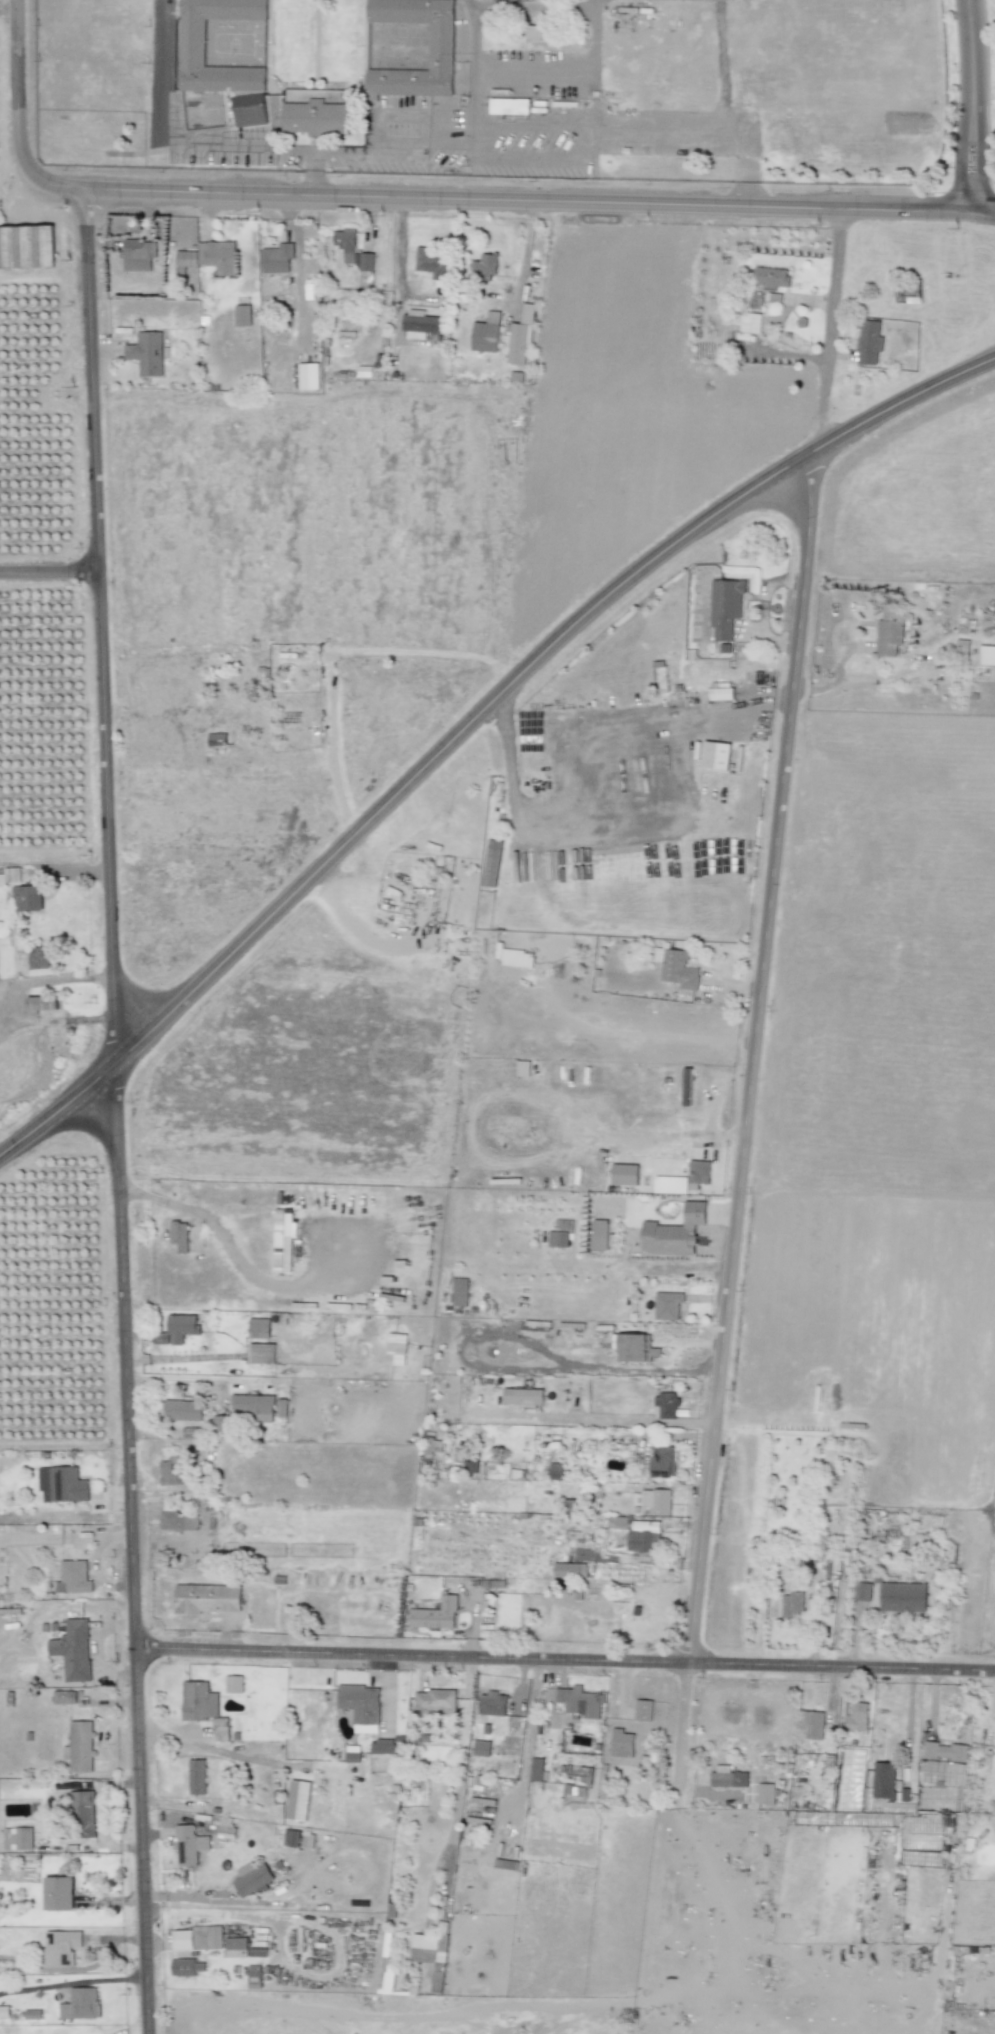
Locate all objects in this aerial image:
road: (7, 3)
building: (533, 32)
building: (442, 46)
building: (193, 51)
road: (972, 102)
building: (509, 106)
building: (251, 109)
road: (14, 116)
building: (316, 117)
road: (578, 128)
road: (168, 140)
building: (78, 144)
road: (377, 150)
road: (528, 196)
road: (984, 206)
building: (345, 243)
building: (27, 246)
building: (139, 255)
building: (218, 256)
building: (277, 258)
building: (185, 260)
building: (366, 261)
building: (432, 262)
building: (485, 266)
building: (771, 277)
building: (756, 301)
building: (242, 315)
building: (750, 322)
building: (420, 324)
road: (832, 326)
building: (486, 333)
building: (521, 337)
building: (869, 342)
building: (147, 353)
building: (308, 376)
road: (906, 400)
road: (52, 571)
building: (726, 606)
road: (105, 624)
building: (888, 633)
building: (987, 655)
building: (720, 693)
road: (575, 732)
road: (457, 738)
building: (216, 739)
building: (716, 755)
road: (648, 828)
building: (491, 863)
building: (10, 876)
building: (28, 897)
building: (515, 957)
building: (37, 958)
building: (677, 968)
road: (56, 978)
building: (42, 1003)
building: (523, 1068)
building: (687, 1086)
road: (60, 1110)
building: (698, 1173)
building: (624, 1174)
building: (670, 1185)
road: (738, 1227)
building: (674, 1232)
building: (179, 1235)
building: (599, 1235)
building: (282, 1239)
building: (557, 1239)
road: (310, 1284)
building: (460, 1292)
building: (667, 1305)
building: (258, 1328)
building: (177, 1329)
road: (691, 1345)
building: (397, 1347)
building: (635, 1347)
building: (261, 1353)
road: (195, 1377)
building: (522, 1396)
building: (665, 1405)
building: (254, 1406)
building: (281, 1407)
building: (182, 1410)
road: (625, 1421)
building: (220, 1424)
building: (432, 1445)
building: (662, 1461)
building: (469, 1466)
building: (170, 1471)
building: (556, 1471)
building: (62, 1484)
building: (653, 1501)
building: (178, 1521)
building: (637, 1536)
road: (135, 1547)
building: (832, 1568)
building: (570, 1570)
building: (73, 1577)
building: (861, 1591)
building: (902, 1597)
building: (207, 1598)
building: (792, 1605)
building: (435, 1615)
building: (73, 1650)
road: (567, 1659)
building: (233, 1684)
building: (64, 1697)
building: (199, 1701)
building: (434, 1701)
building: (580, 1701)
building: (492, 1703)
building: (361, 1706)
building: (643, 1710)
building: (857, 1717)
building: (812, 1725)
building: (220, 1729)
building: (621, 1743)
building: (388, 1745)
building: (79, 1747)
building: (481, 1748)
building: (944, 1751)
building: (352, 1754)
building: (852, 1761)
building: (536, 1769)
building: (928, 1771)
building: (196, 1776)
building: (728, 1777)
building: (884, 1780)
building: (765, 1793)
building: (298, 1800)
building: (82, 1813)
building: (226, 1828)
building: (18, 1838)
building: (291, 1838)
building: (307, 1840)
building: (189, 1845)
building: (252, 1878)
building: (58, 1893)
building: (197, 1938)
building: (235, 1947)
building: (59, 1948)
building: (257, 1951)
building: (432, 1953)
building: (186, 1966)
building: (81, 2003)
building: (32, 2014)

